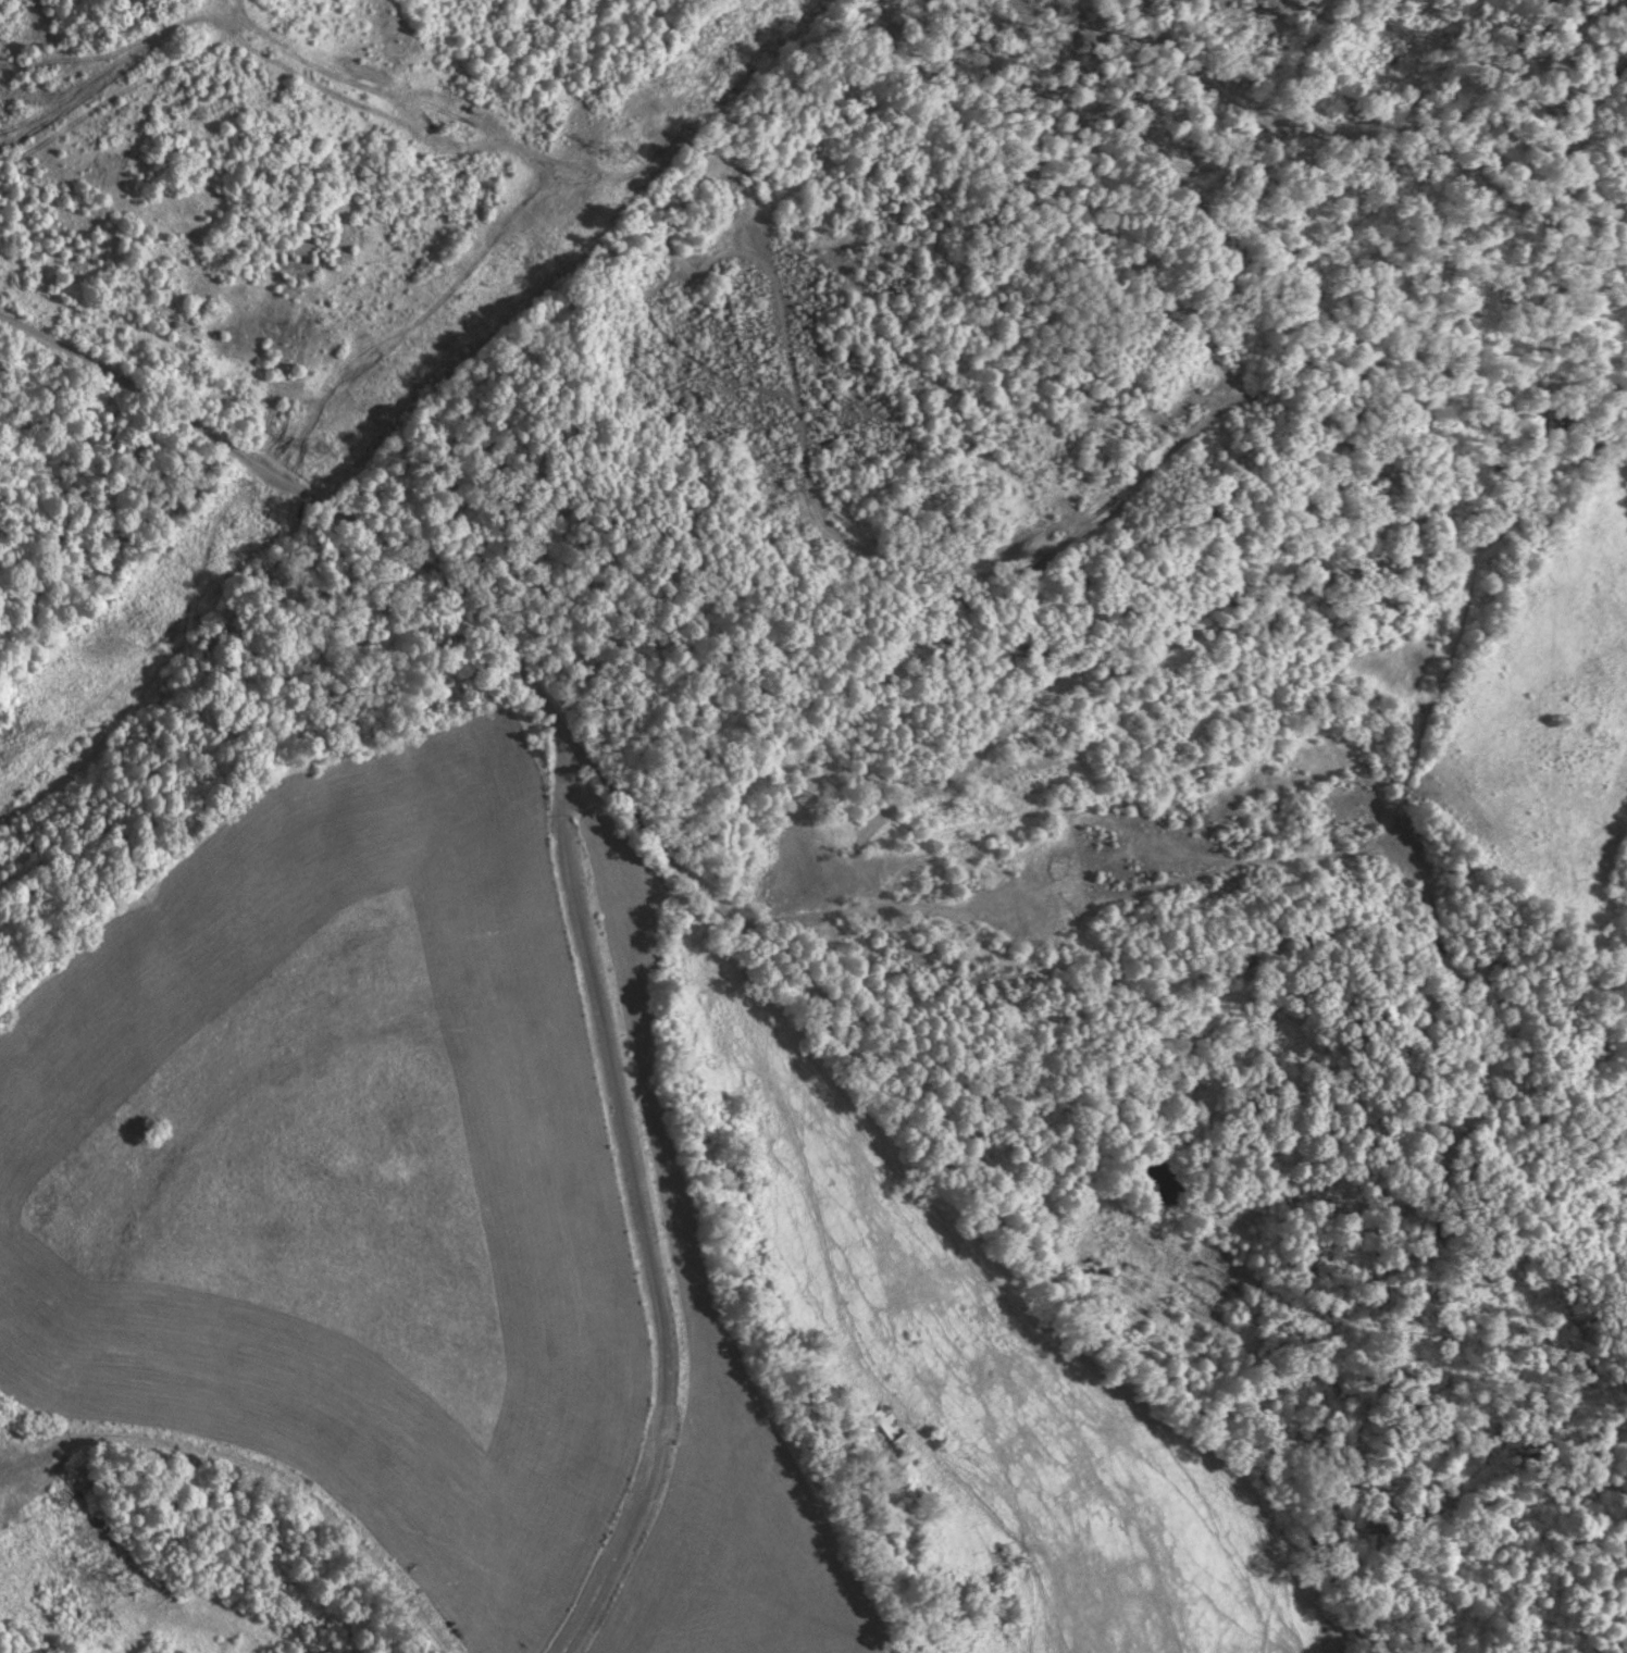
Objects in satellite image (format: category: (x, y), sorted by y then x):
power tower: (613, 141)
road: (740, 921)
building: (891, 1427)

